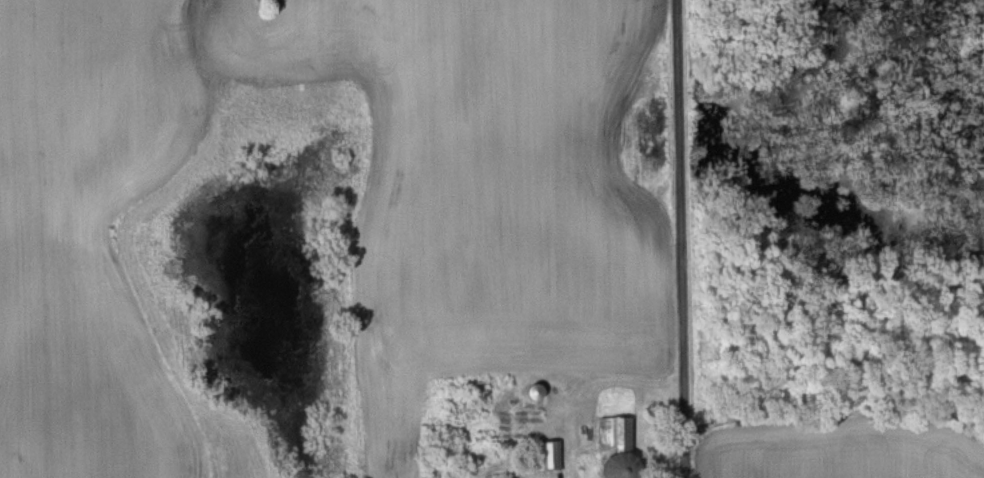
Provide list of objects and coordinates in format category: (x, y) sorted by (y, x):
road: (684, 238)
building: (530, 392)
building: (612, 447)
building: (542, 456)

